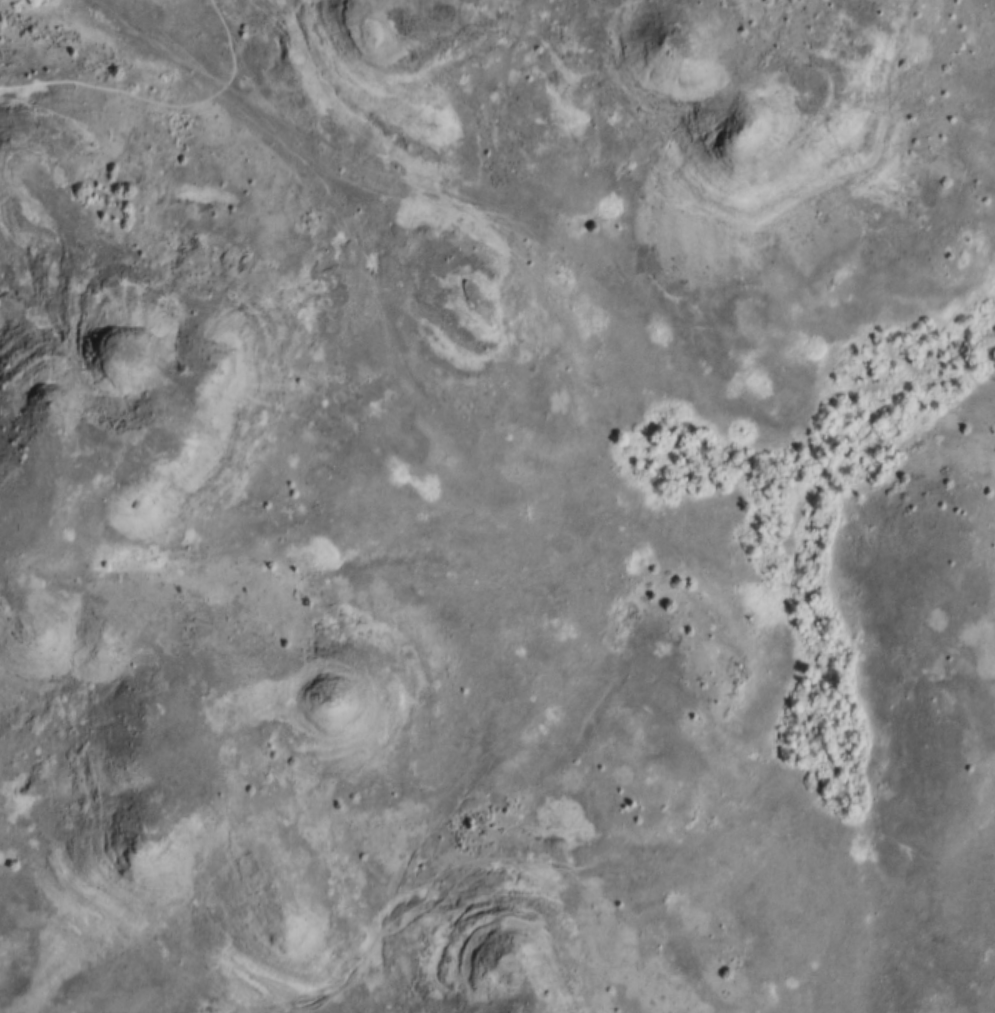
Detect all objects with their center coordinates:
road: (160, 104)

